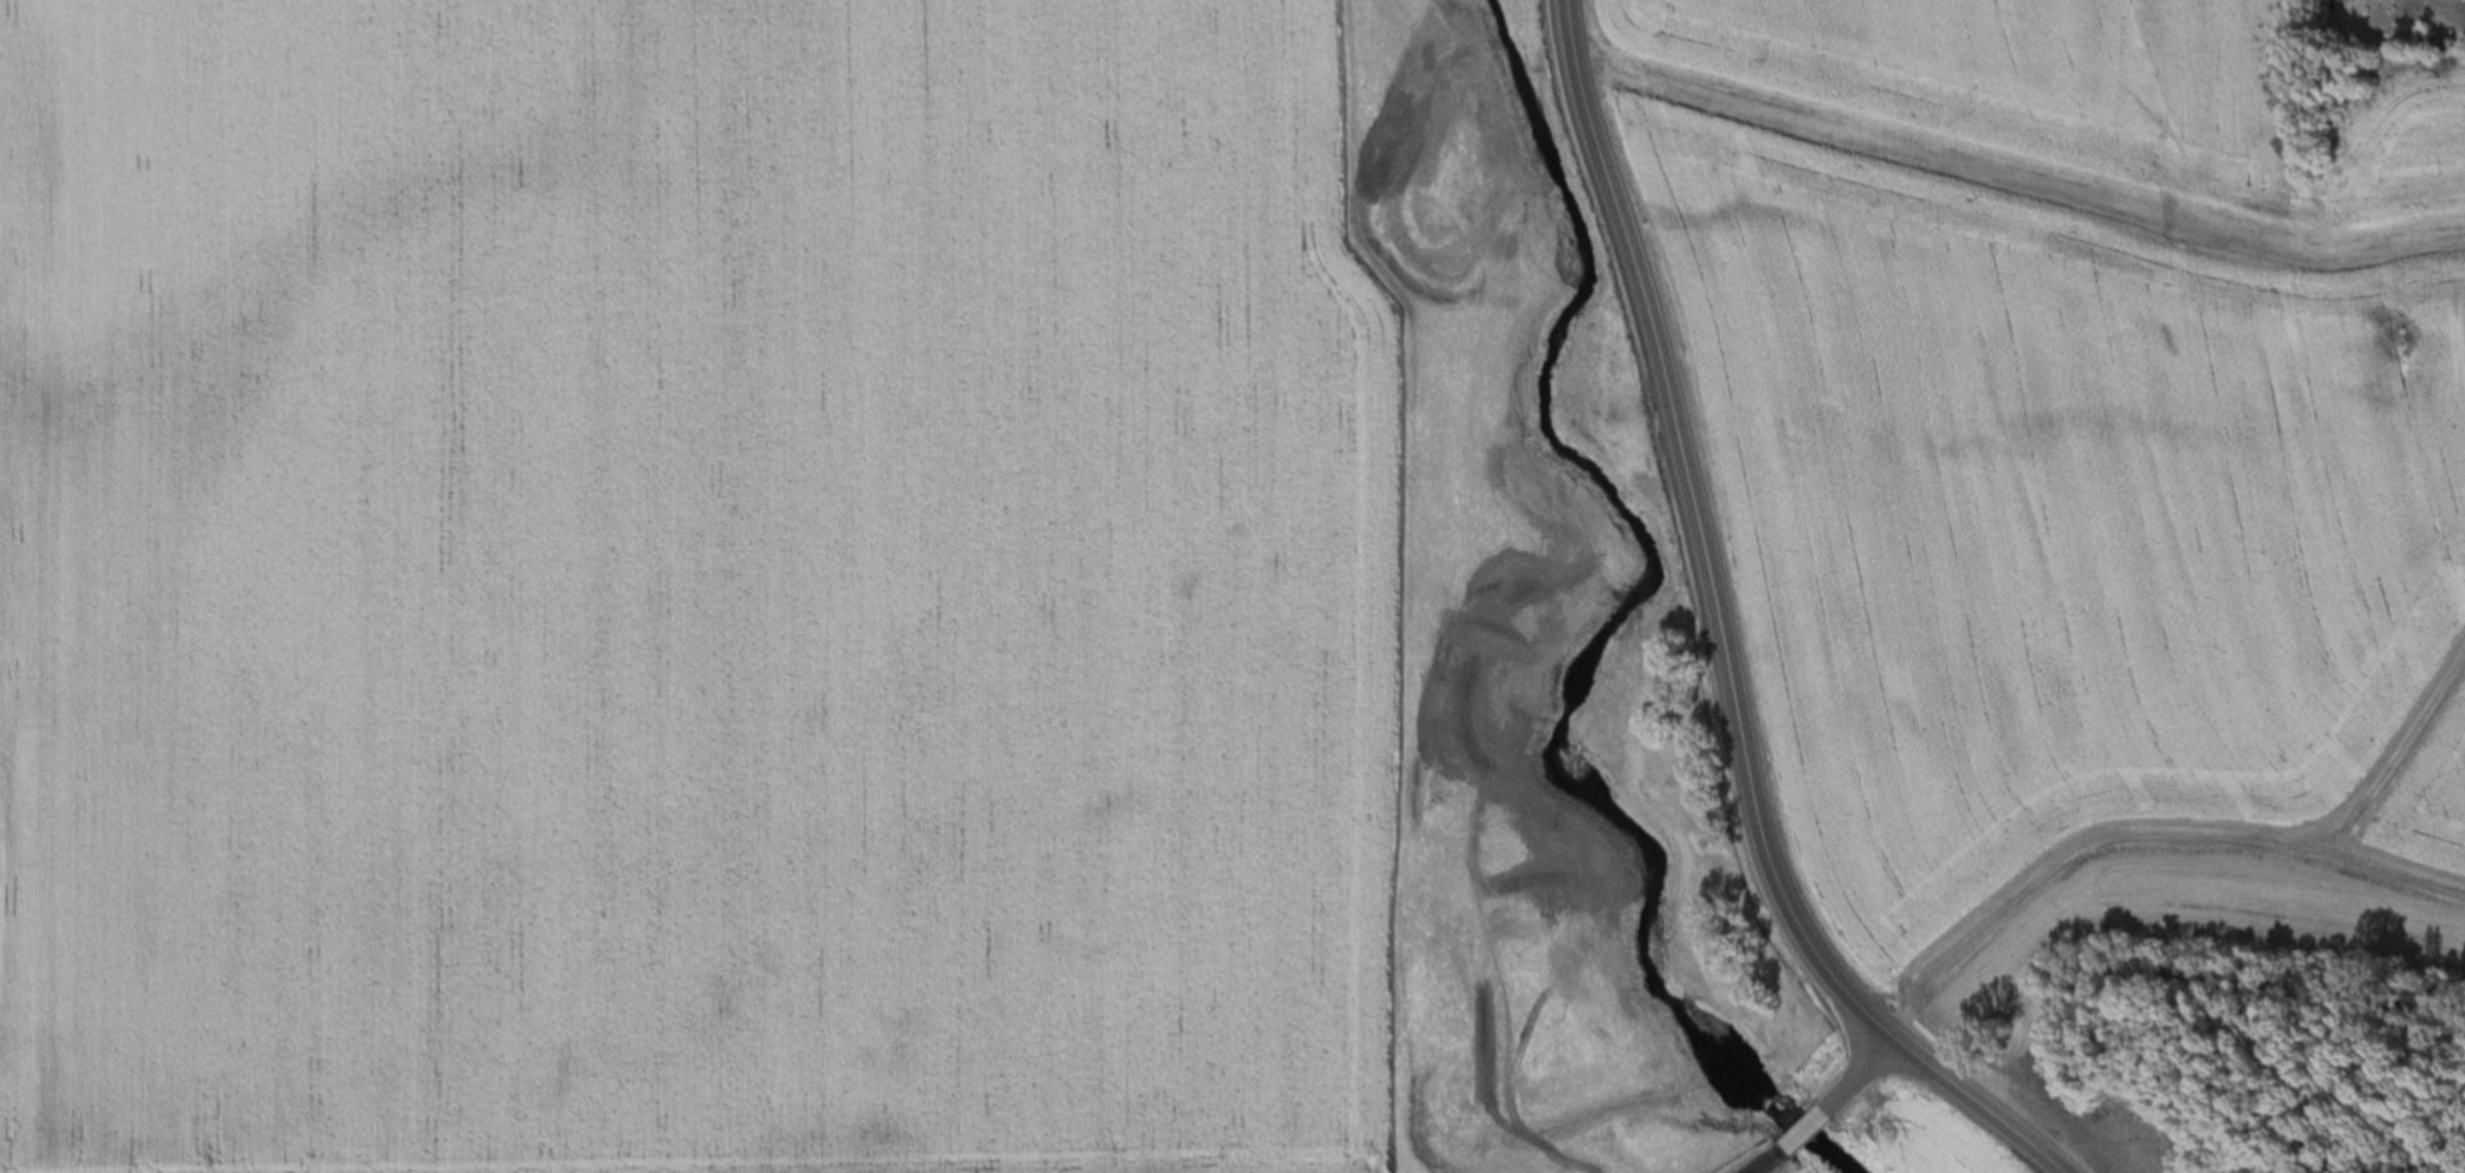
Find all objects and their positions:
road: (1704, 538)
road: (1979, 1103)
road: (1828, 1116)

